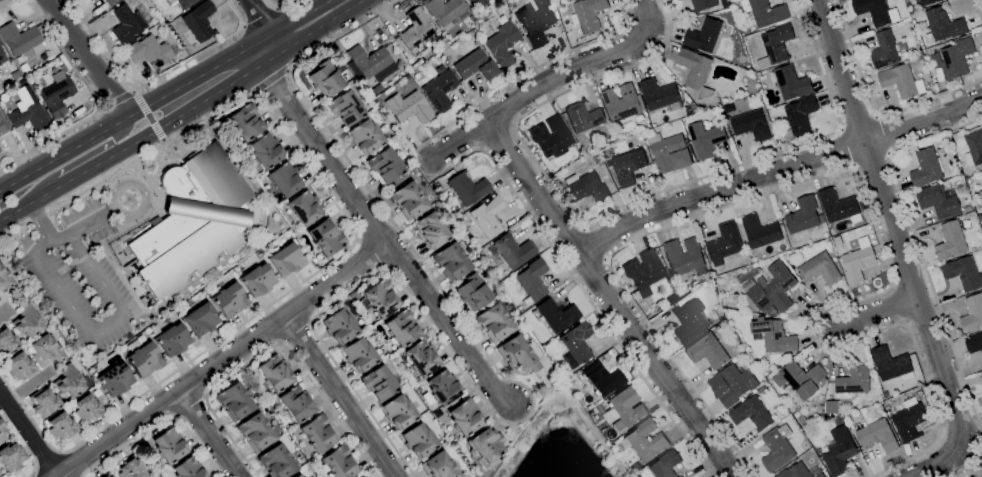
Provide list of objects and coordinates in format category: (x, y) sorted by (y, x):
building: (677, 0)
building: (679, 0)
building: (566, 1)
building: (111, 2)
building: (930, 2)
building: (182, 3)
building: (477, 3)
building: (725, 3)
road: (281, 4)
building: (704, 4)
road: (11, 5)
building: (444, 10)
building: (874, 11)
road: (978, 11)
building: (764, 13)
road: (260, 15)
building: (587, 18)
building: (158, 19)
road: (647, 19)
building: (535, 20)
building: (562, 20)
building: (199, 21)
road: (263, 21)
building: (127, 24)
building: (944, 24)
road: (299, 28)
building: (415, 31)
building: (746, 31)
building: (703, 35)
building: (20, 39)
building: (477, 41)
building: (0, 44)
building: (502, 44)
building: (578, 45)
building: (775, 46)
building: (884, 50)
building: (148, 51)
building: (2, 56)
building: (42, 56)
road: (86, 57)
building: (19, 59)
building: (953, 59)
building: (916, 60)
building: (371, 63)
building: (397, 63)
building: (413, 65)
building: (475, 65)
building: (747, 65)
building: (24, 67)
building: (42, 67)
road: (527, 72)
building: (696, 77)
road: (154, 78)
building: (325, 79)
building: (901, 81)
road: (273, 82)
building: (792, 83)
road: (132, 89)
building: (376, 89)
building: (440, 90)
road: (537, 91)
building: (57, 95)
building: (660, 95)
road: (115, 100)
road: (95, 101)
road: (139, 103)
building: (622, 106)
building: (345, 108)
building: (406, 109)
building: (696, 110)
road: (874, 110)
road: (187, 111)
building: (769, 111)
building: (28, 112)
road: (125, 115)
building: (799, 116)
building: (583, 117)
road: (149, 119)
road: (857, 121)
building: (246, 122)
building: (749, 123)
building: (3, 126)
road: (157, 131)
road: (117, 135)
road: (883, 135)
building: (365, 137)
building: (554, 139)
road: (413, 140)
road: (163, 141)
building: (707, 141)
building: (974, 147)
road: (844, 148)
building: (0, 151)
building: (265, 152)
building: (670, 152)
building: (597, 160)
road: (870, 161)
building: (384, 165)
building: (628, 167)
road: (850, 168)
building: (925, 168)
road: (776, 169)
road: (85, 171)
building: (981, 177)
building: (283, 180)
building: (467, 187)
building: (586, 187)
building: (980, 195)
building: (430, 198)
building: (408, 201)
building: (939, 201)
road: (30, 202)
road: (144, 206)
building: (839, 207)
building: (304, 208)
building: (967, 211)
road: (612, 213)
building: (488, 215)
building: (803, 218)
road: (39, 221)
building: (192, 221)
road: (82, 224)
building: (430, 231)
road: (379, 232)
building: (762, 234)
road: (355, 235)
building: (326, 237)
building: (836, 241)
building: (950, 242)
road: (596, 244)
building: (724, 244)
road: (917, 245)
building: (512, 251)
road: (900, 252)
road: (371, 255)
building: (684, 257)
building: (285, 260)
building: (858, 260)
building: (451, 261)
building: (819, 270)
parking lot: (78, 271)
building: (644, 271)
building: (514, 273)
building: (963, 274)
building: (747, 275)
building: (5, 279)
building: (256, 279)
building: (532, 281)
road: (581, 288)
building: (683, 288)
building: (772, 289)
building: (472, 292)
building: (379, 299)
building: (229, 300)
road: (611, 300)
building: (750, 304)
building: (509, 306)
road: (5, 310)
building: (653, 313)
road: (876, 313)
building: (557, 315)
building: (972, 315)
building: (720, 317)
building: (688, 319)
building: (200, 320)
building: (27, 321)
building: (493, 323)
building: (339, 326)
road: (99, 327)
building: (401, 328)
building: (774, 336)
building: (171, 339)
building: (6, 342)
building: (973, 343)
building: (576, 345)
road: (270, 348)
building: (46, 351)
building: (383, 351)
building: (707, 351)
building: (359, 355)
building: (517, 355)
building: (143, 358)
building: (420, 358)
road: (225, 361)
building: (891, 365)
building: (19, 367)
building: (275, 373)
building: (602, 379)
building: (801, 379)
building: (115, 380)
building: (69, 381)
building: (853, 381)
building: (379, 383)
road: (28, 384)
building: (731, 386)
building: (442, 388)
road: (525, 388)
building: (831, 392)
road: (341, 397)
building: (43, 402)
building: (234, 402)
building: (296, 404)
building: (831, 407)
building: (87, 409)
building: (599, 409)
building: (624, 409)
building: (398, 412)
building: (590, 413)
building: (437, 414)
building: (751, 414)
building: (463, 416)
building: (825, 419)
building: (909, 420)
building: (61, 427)
road: (159, 428)
building: (2, 431)
building: (255, 432)
building: (318, 434)
road: (29, 435)
road: (210, 435)
building: (877, 436)
building: (418, 441)
building: (644, 441)
building: (169, 446)
road: (30, 448)
building: (485, 448)
building: (777, 448)
building: (308, 453)
building: (297, 455)
building: (12, 457)
building: (838, 457)
road: (47, 460)
building: (277, 462)
road: (34, 463)
building: (339, 463)
road: (72, 464)
building: (665, 465)
building: (438, 466)
road: (972, 466)
building: (635, 467)
building: (130, 468)
building: (188, 469)
building: (800, 472)
road: (37, 473)
building: (106, 475)
building: (297, 476)
building: (363, 476)
building: (363, 476)

